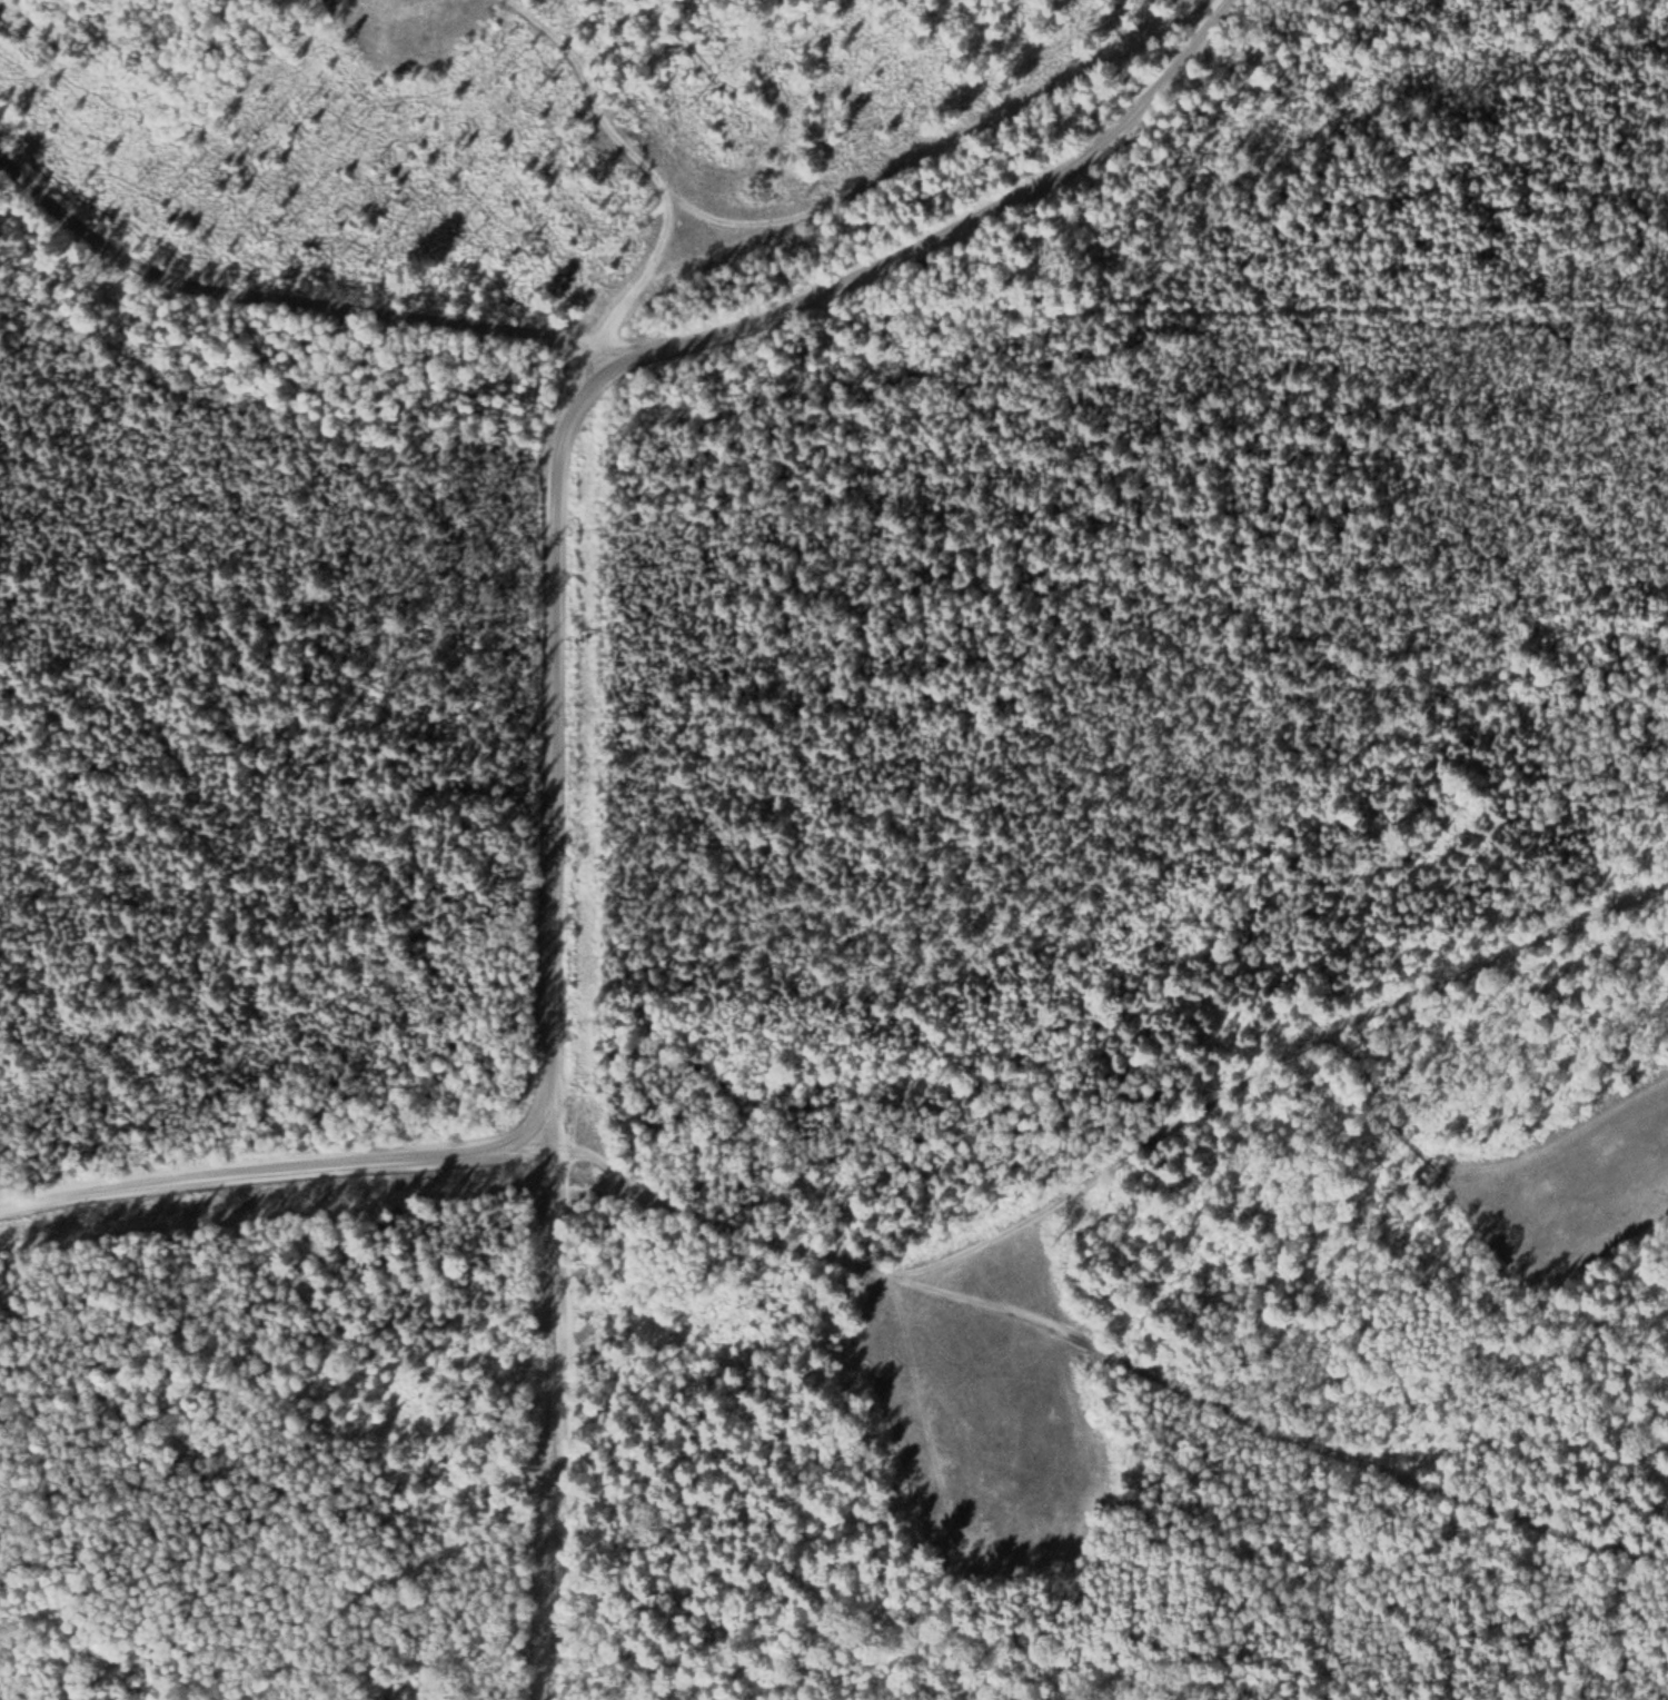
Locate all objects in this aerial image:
road: (289, 290)
road: (576, 385)
road: (1118, 1151)
road: (274, 1183)
road: (1277, 1428)
road: (548, 1431)

